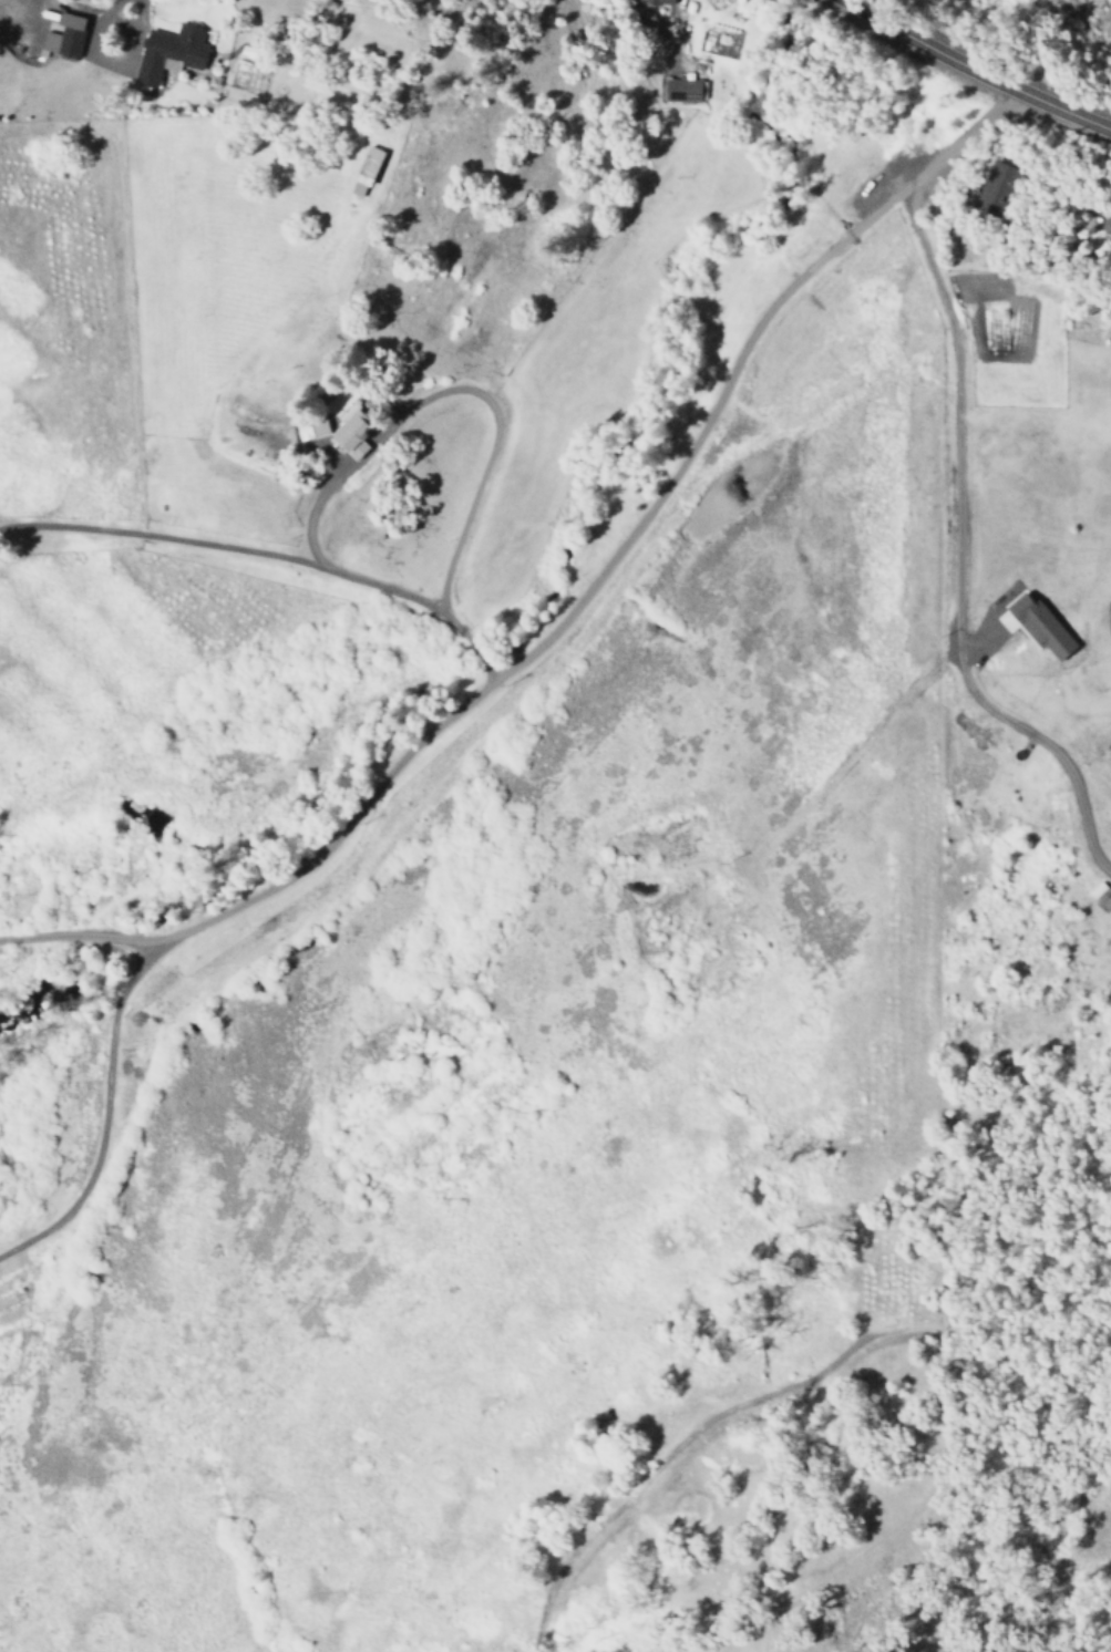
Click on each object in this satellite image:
building: (666, 1)
road: (106, 12)
building: (63, 37)
building: (168, 53)
road: (976, 70)
building: (682, 90)
building: (362, 173)
building: (992, 188)
road: (456, 390)
building: (352, 433)
road: (266, 555)
road: (960, 560)
building: (1040, 626)
road: (488, 681)
road: (72, 936)
road: (863, 1342)

